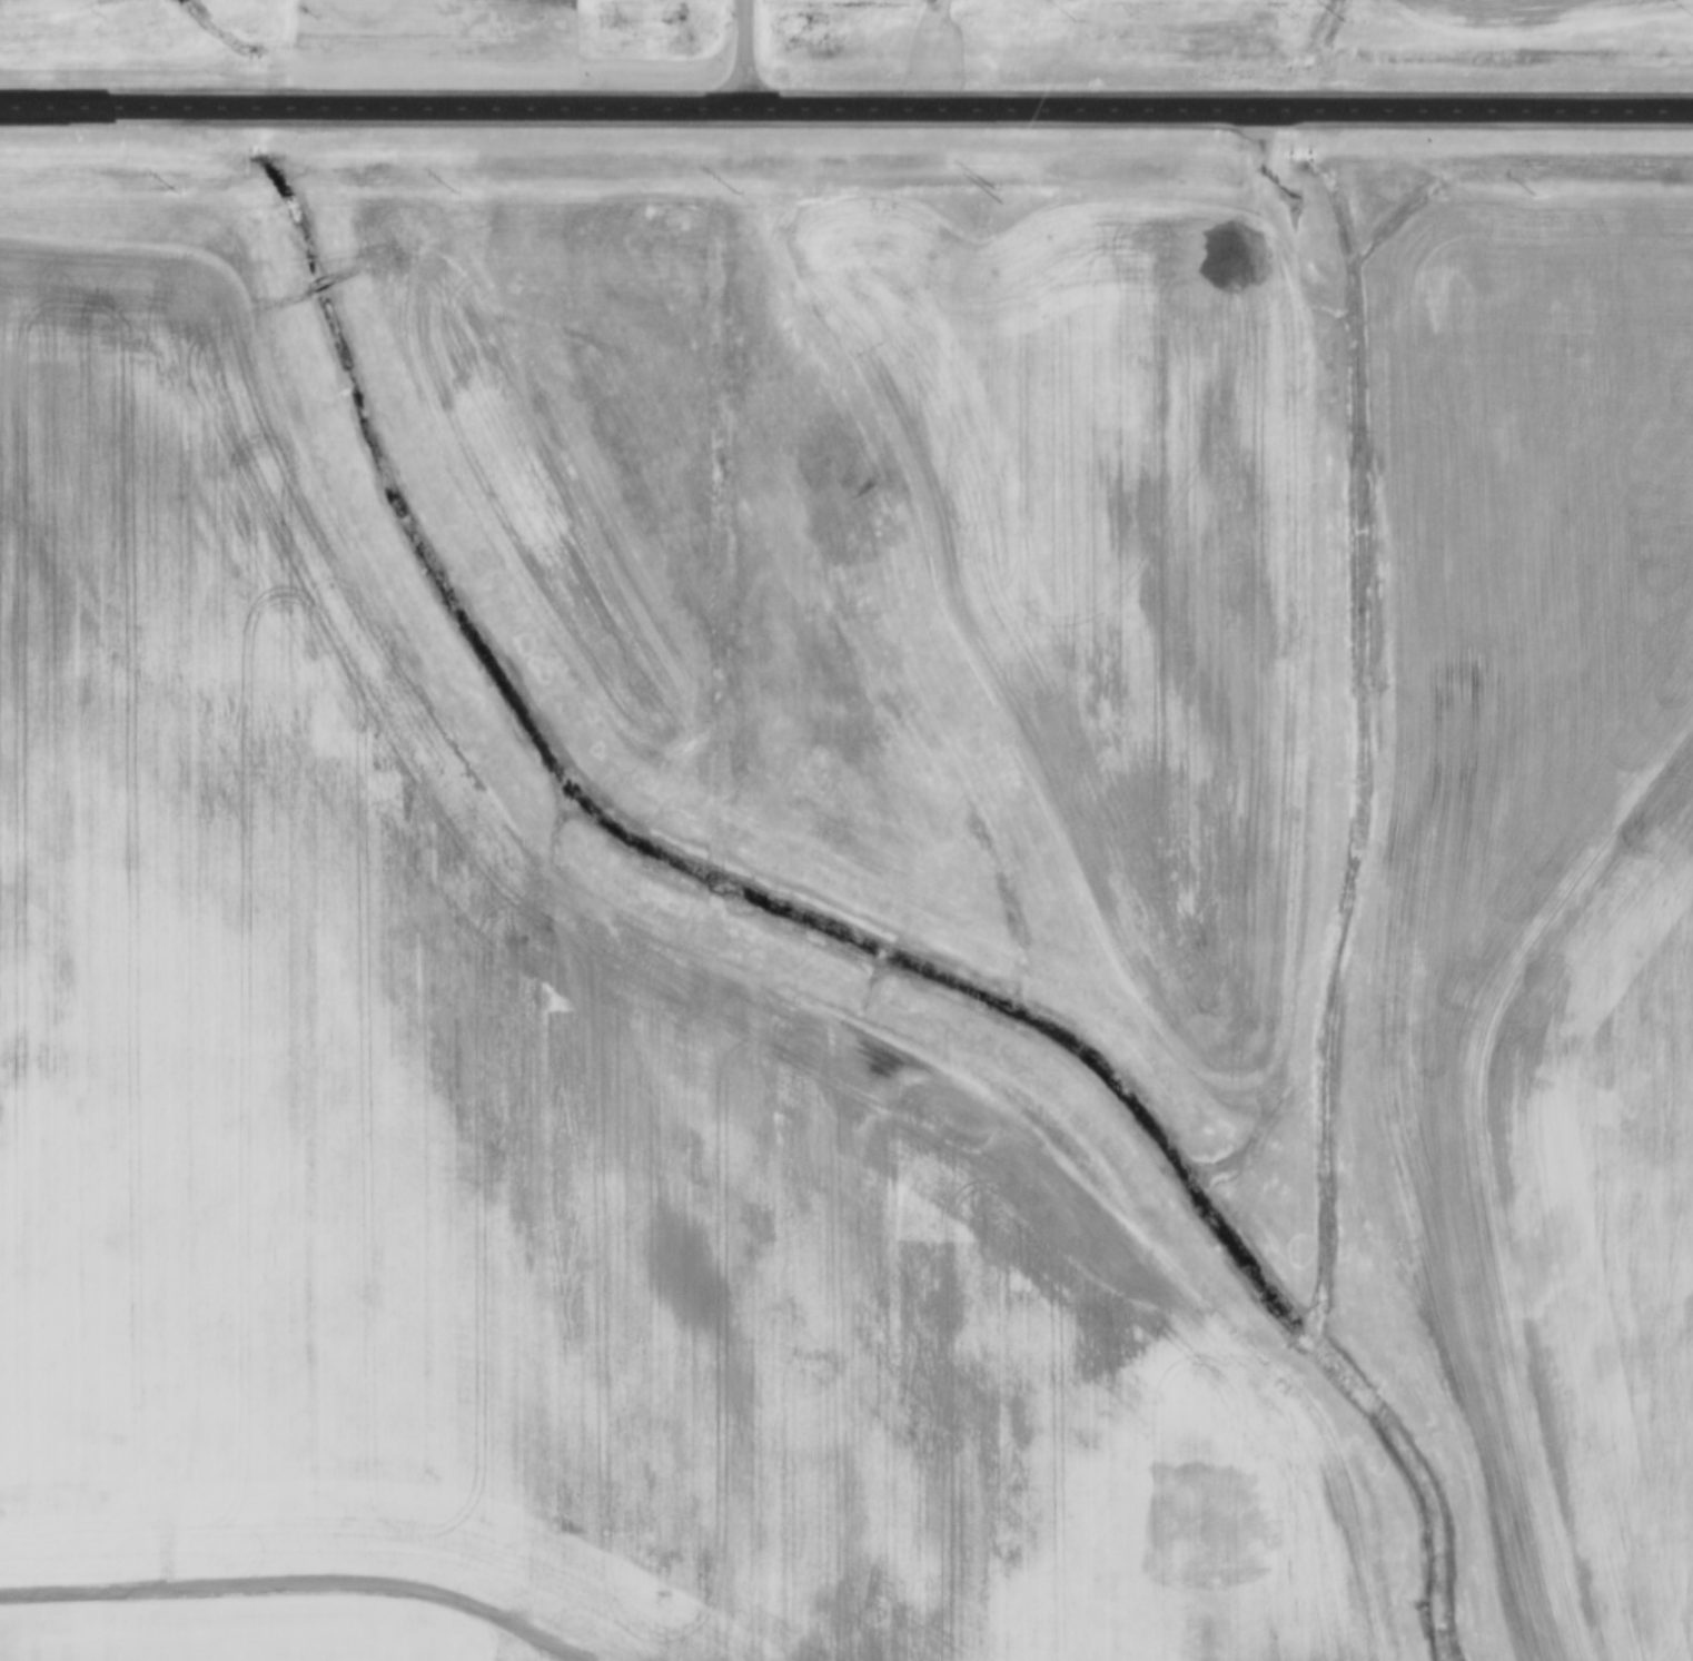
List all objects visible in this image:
road: (750, 56)
road: (845, 111)
road: (294, 1591)
road: (369, 1625)

